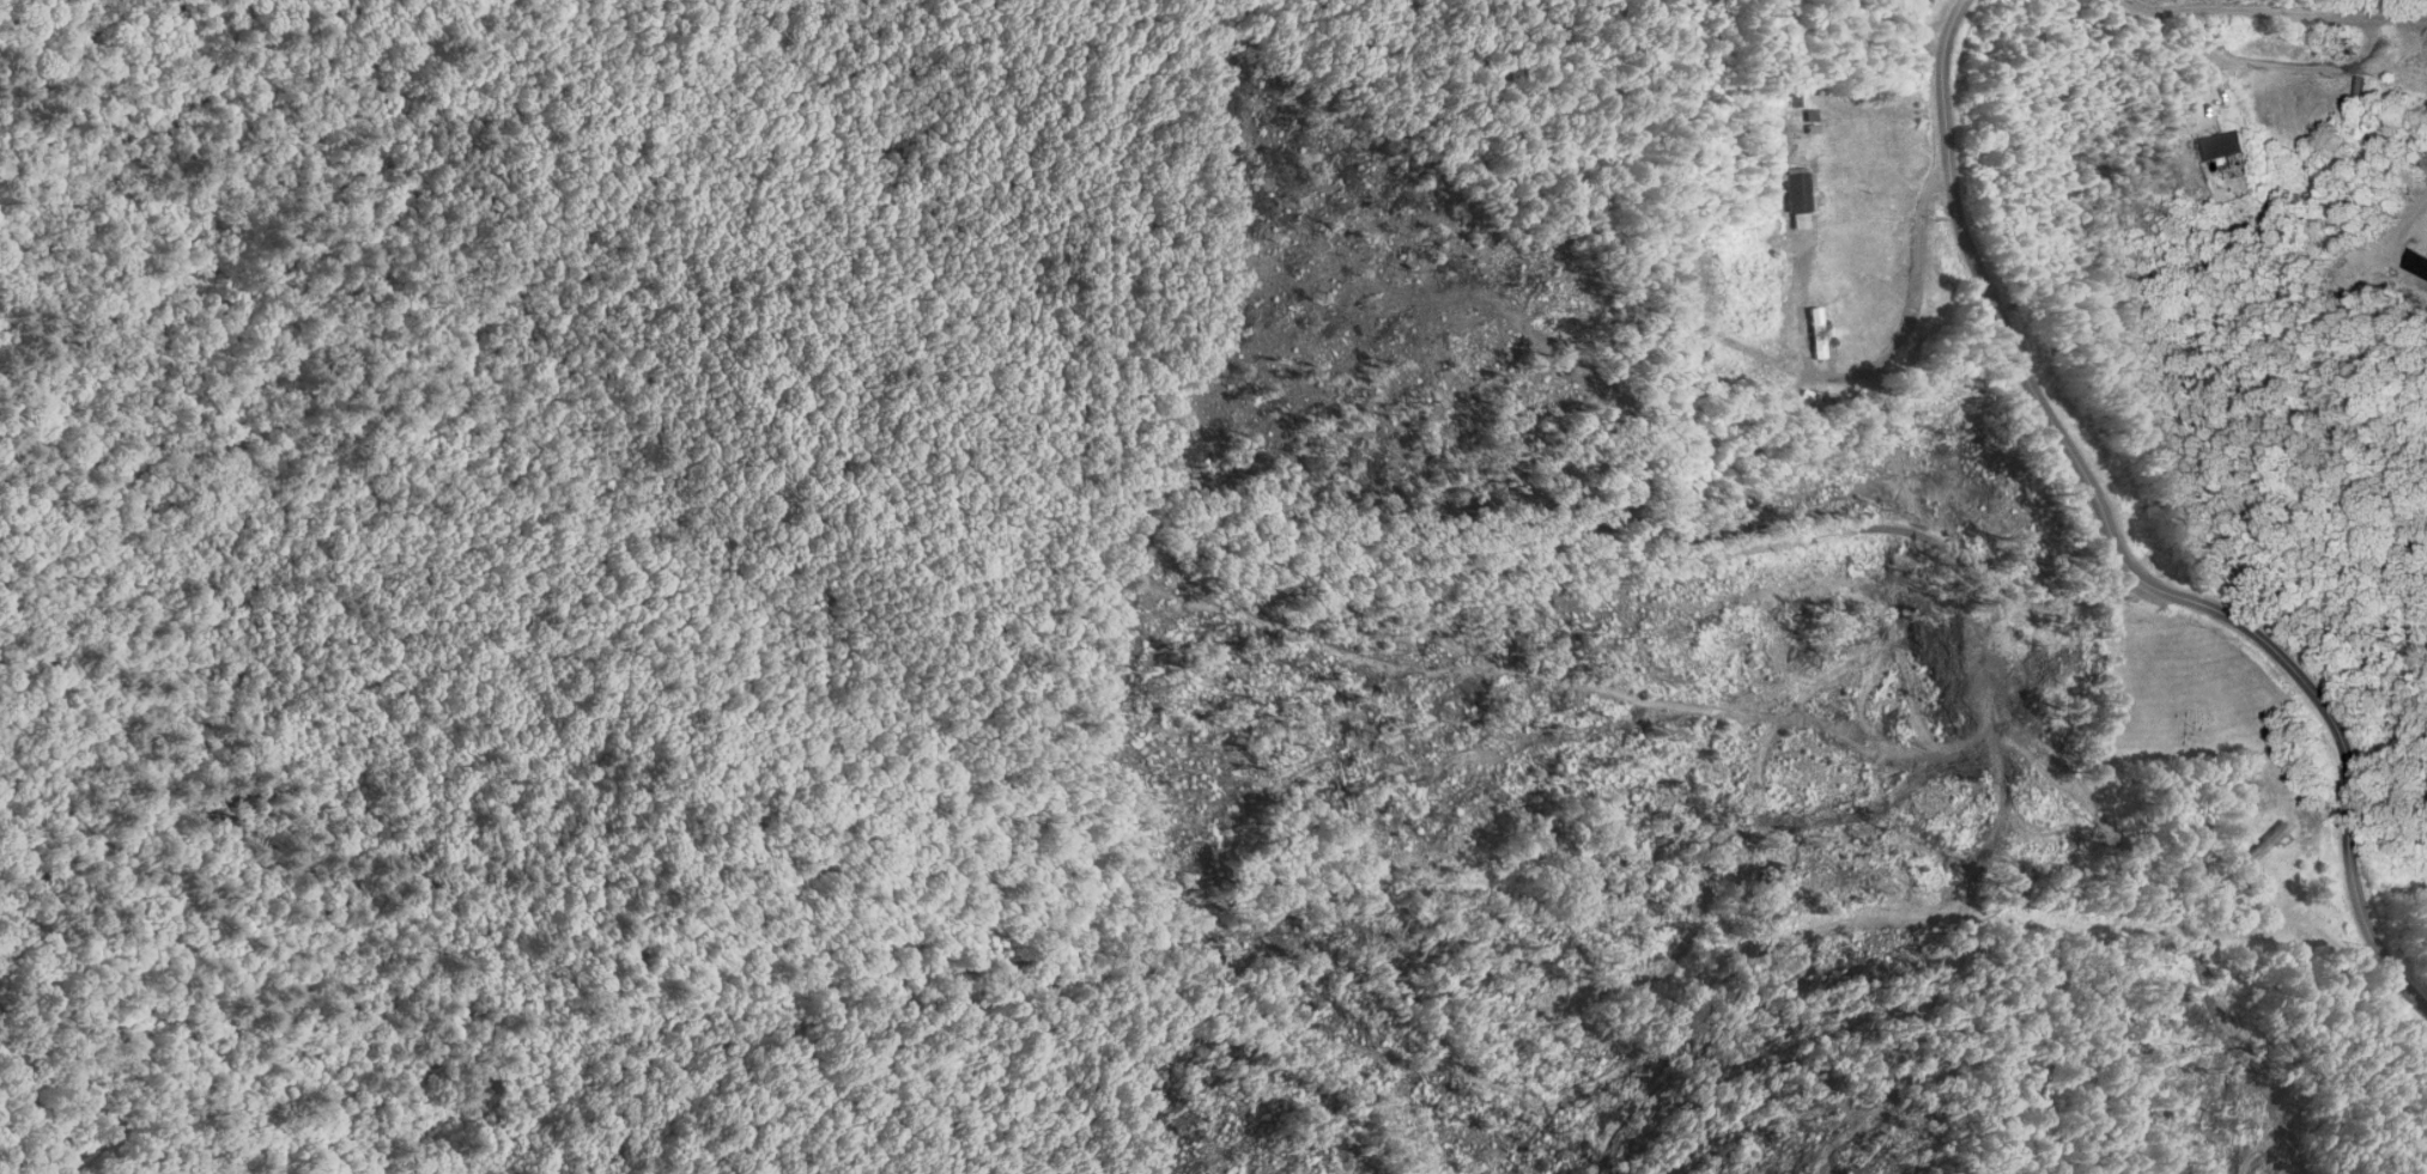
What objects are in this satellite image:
road: (2276, 11)
road: (1917, 26)
road: (2287, 65)
building: (2226, 129)
building: (1797, 189)
building: (1814, 333)
road: (1886, 358)
road: (2118, 548)
road: (1342, 578)
road: (1820, 687)

